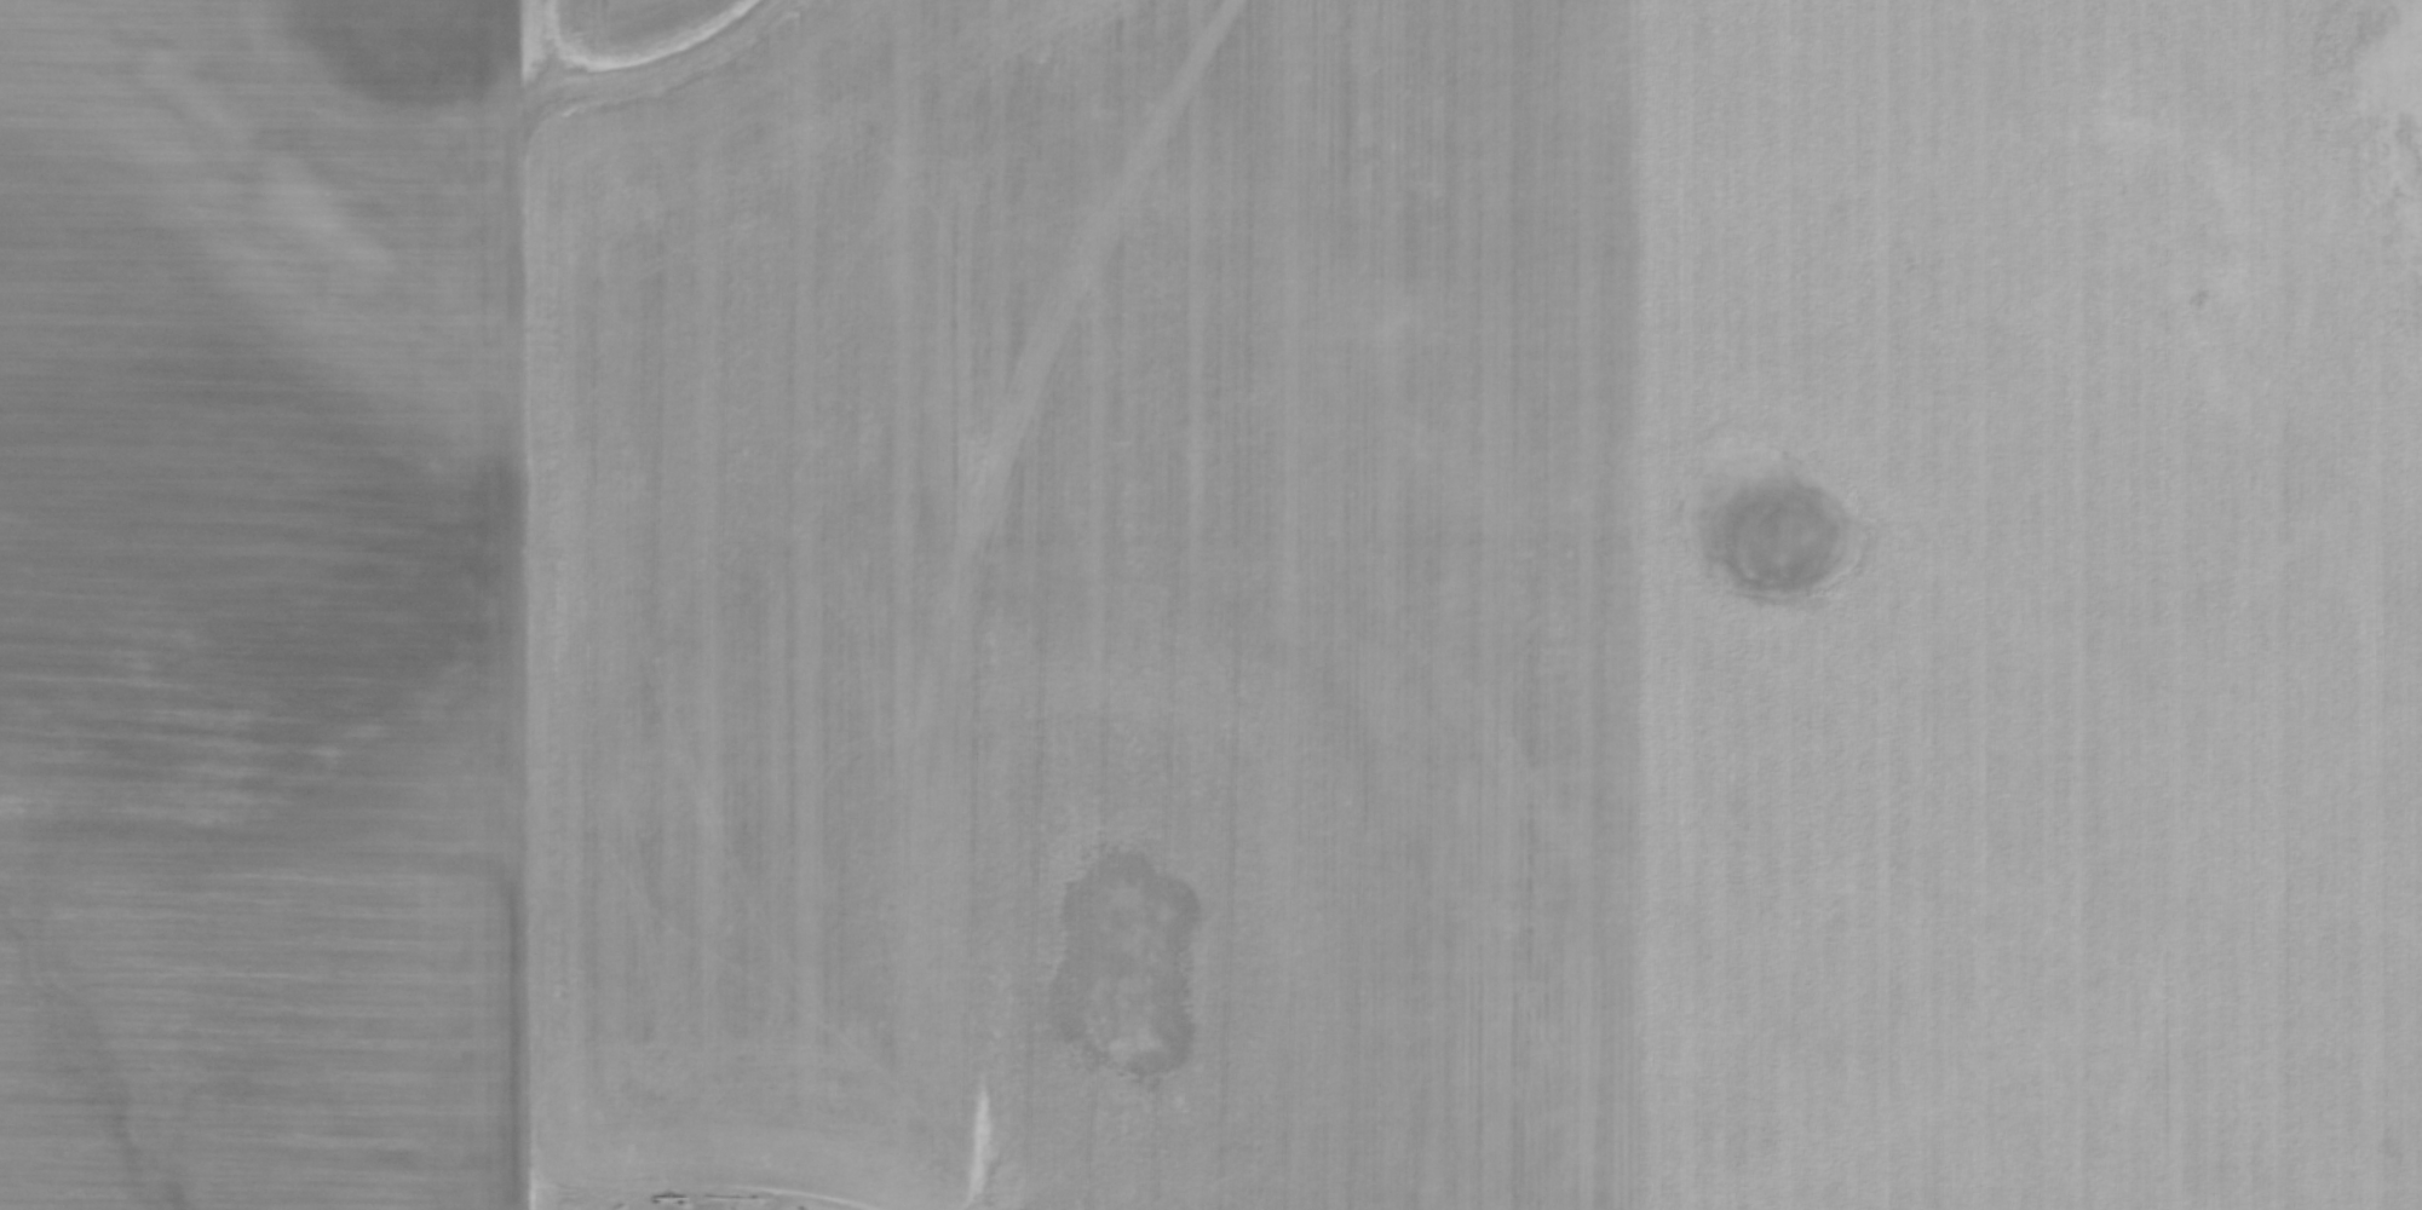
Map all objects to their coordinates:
crop: (1220, 611)

